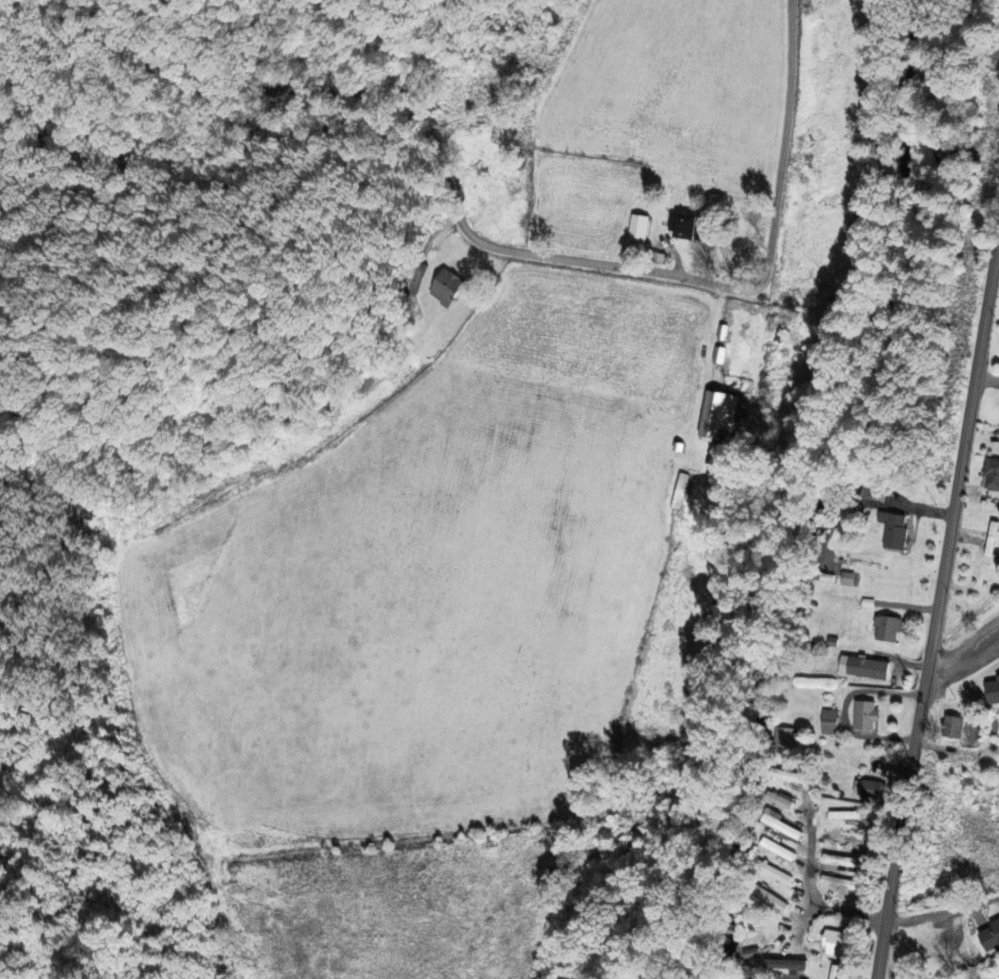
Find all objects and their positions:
building: (685, 226)
building: (637, 228)
road: (489, 246)
building: (445, 287)
building: (718, 355)
building: (717, 415)
building: (991, 473)
building: (893, 529)
building: (846, 577)
road: (938, 600)
building: (886, 628)
road: (963, 646)
building: (863, 667)
building: (992, 690)
building: (864, 715)
building: (828, 721)
building: (951, 726)
building: (785, 736)
building: (791, 775)
building: (869, 788)
building: (783, 800)
building: (842, 815)
building: (784, 828)
building: (777, 849)
building: (842, 860)
building: (774, 872)
road: (809, 888)
building: (771, 899)
road: (942, 912)
building: (989, 936)
building: (838, 944)
building: (784, 964)
building: (835, 971)
building: (996, 977)
building: (744, 978)

